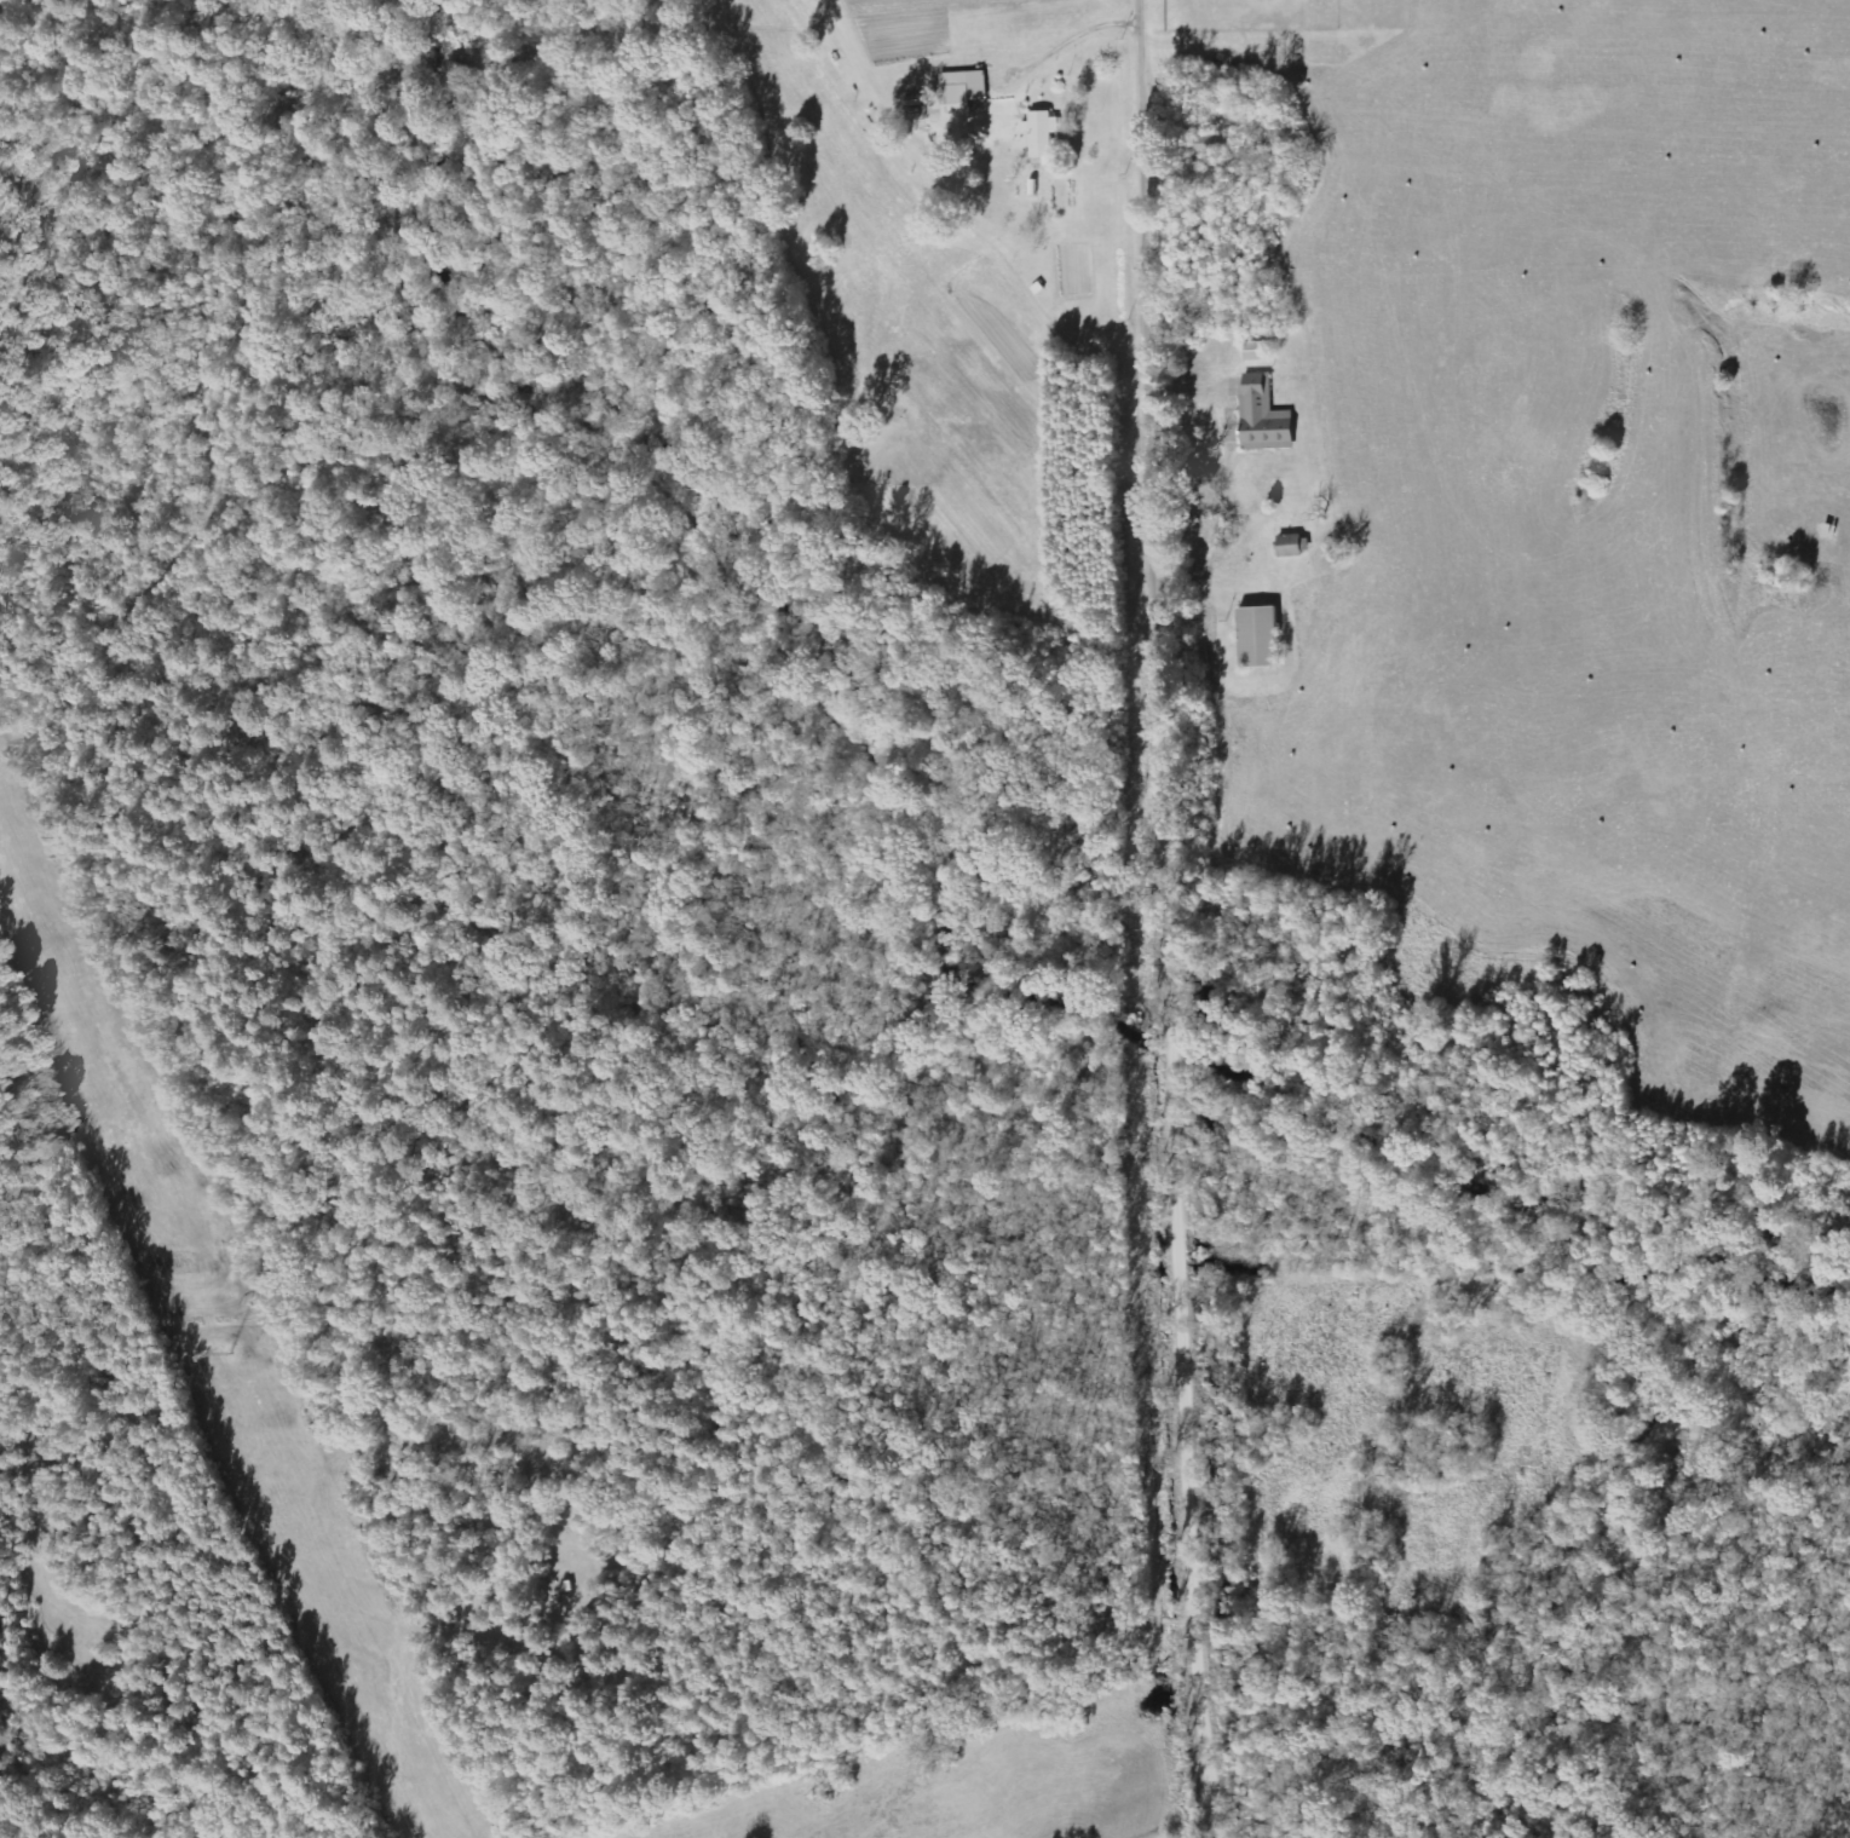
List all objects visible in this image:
building: (962, 91)
building: (1039, 133)
building: (1216, 145)
building: (1257, 351)
building: (1264, 416)
building: (1293, 546)
building: (1260, 636)
road: (1177, 918)
power tower: (225, 1352)

